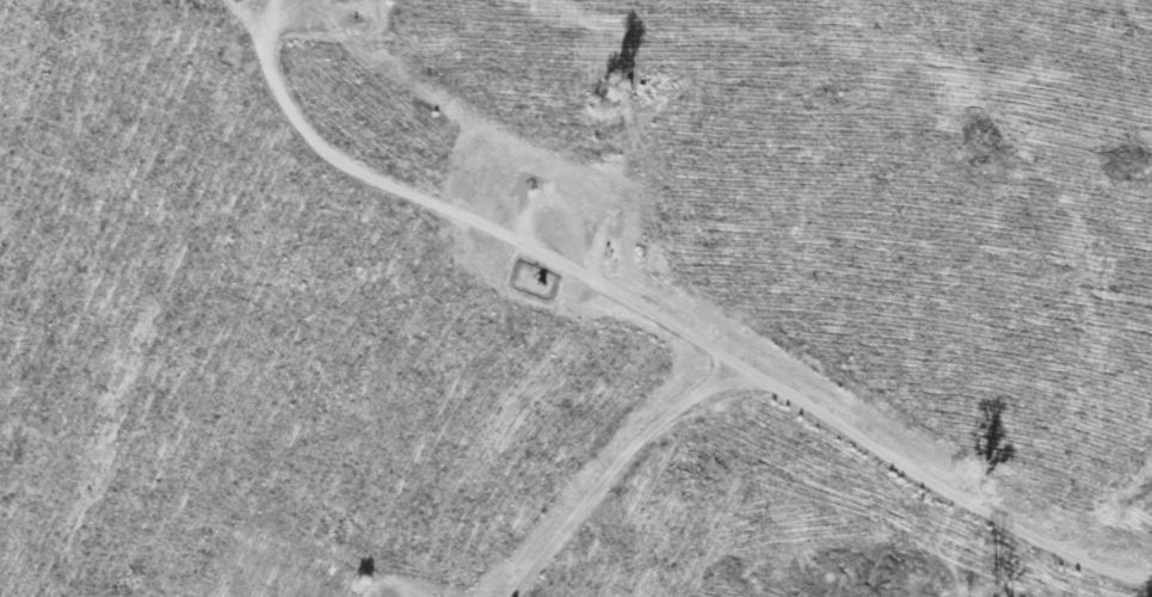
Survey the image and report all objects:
road: (666, 318)

